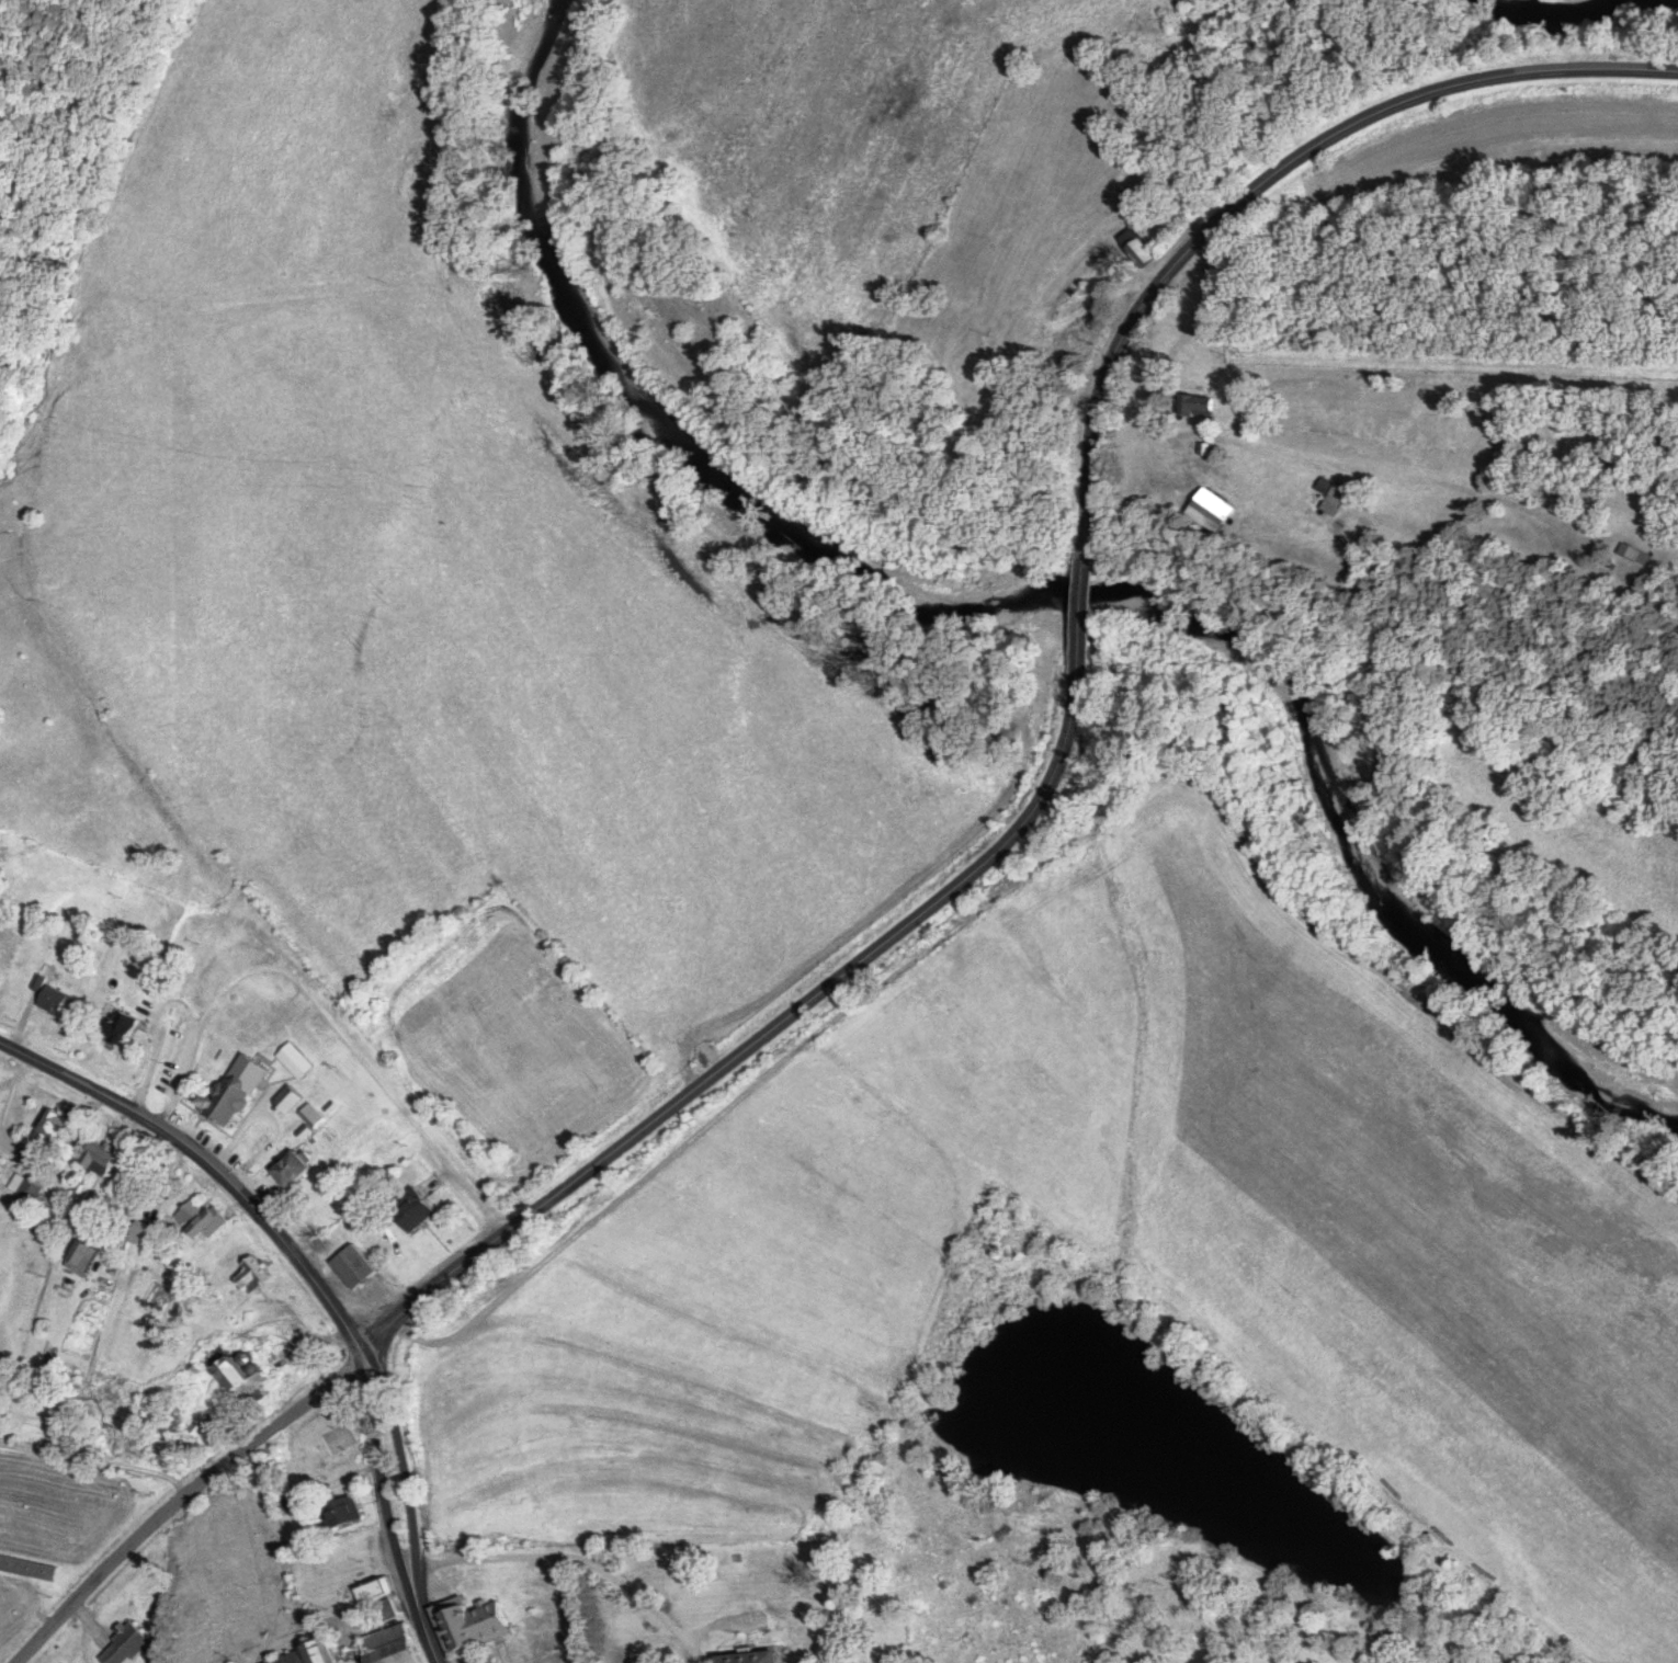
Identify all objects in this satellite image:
building: (1131, 249)
building: (1193, 406)
building: (1329, 497)
building: (1209, 511)
building: (1630, 555)
road: (1074, 679)
building: (45, 1000)
road: (324, 1014)
building: (112, 1028)
building: (288, 1062)
building: (228, 1092)
road: (12, 1094)
building: (281, 1103)
building: (306, 1117)
building: (43, 1130)
road: (12, 1155)
building: (92, 1161)
building: (284, 1171)
building: (27, 1195)
building: (407, 1211)
building: (194, 1220)
building: (137, 1237)
building: (73, 1258)
building: (348, 1267)
building: (248, 1276)
road: (319, 1284)
building: (234, 1380)
road: (410, 1490)
road: (184, 1497)
building: (337, 1513)
road: (580, 1561)
building: (26, 1569)
building: (370, 1591)
building: (382, 1610)
building: (464, 1625)
building: (121, 1645)
building: (385, 1647)
building: (306, 1654)
building: (746, 1658)

